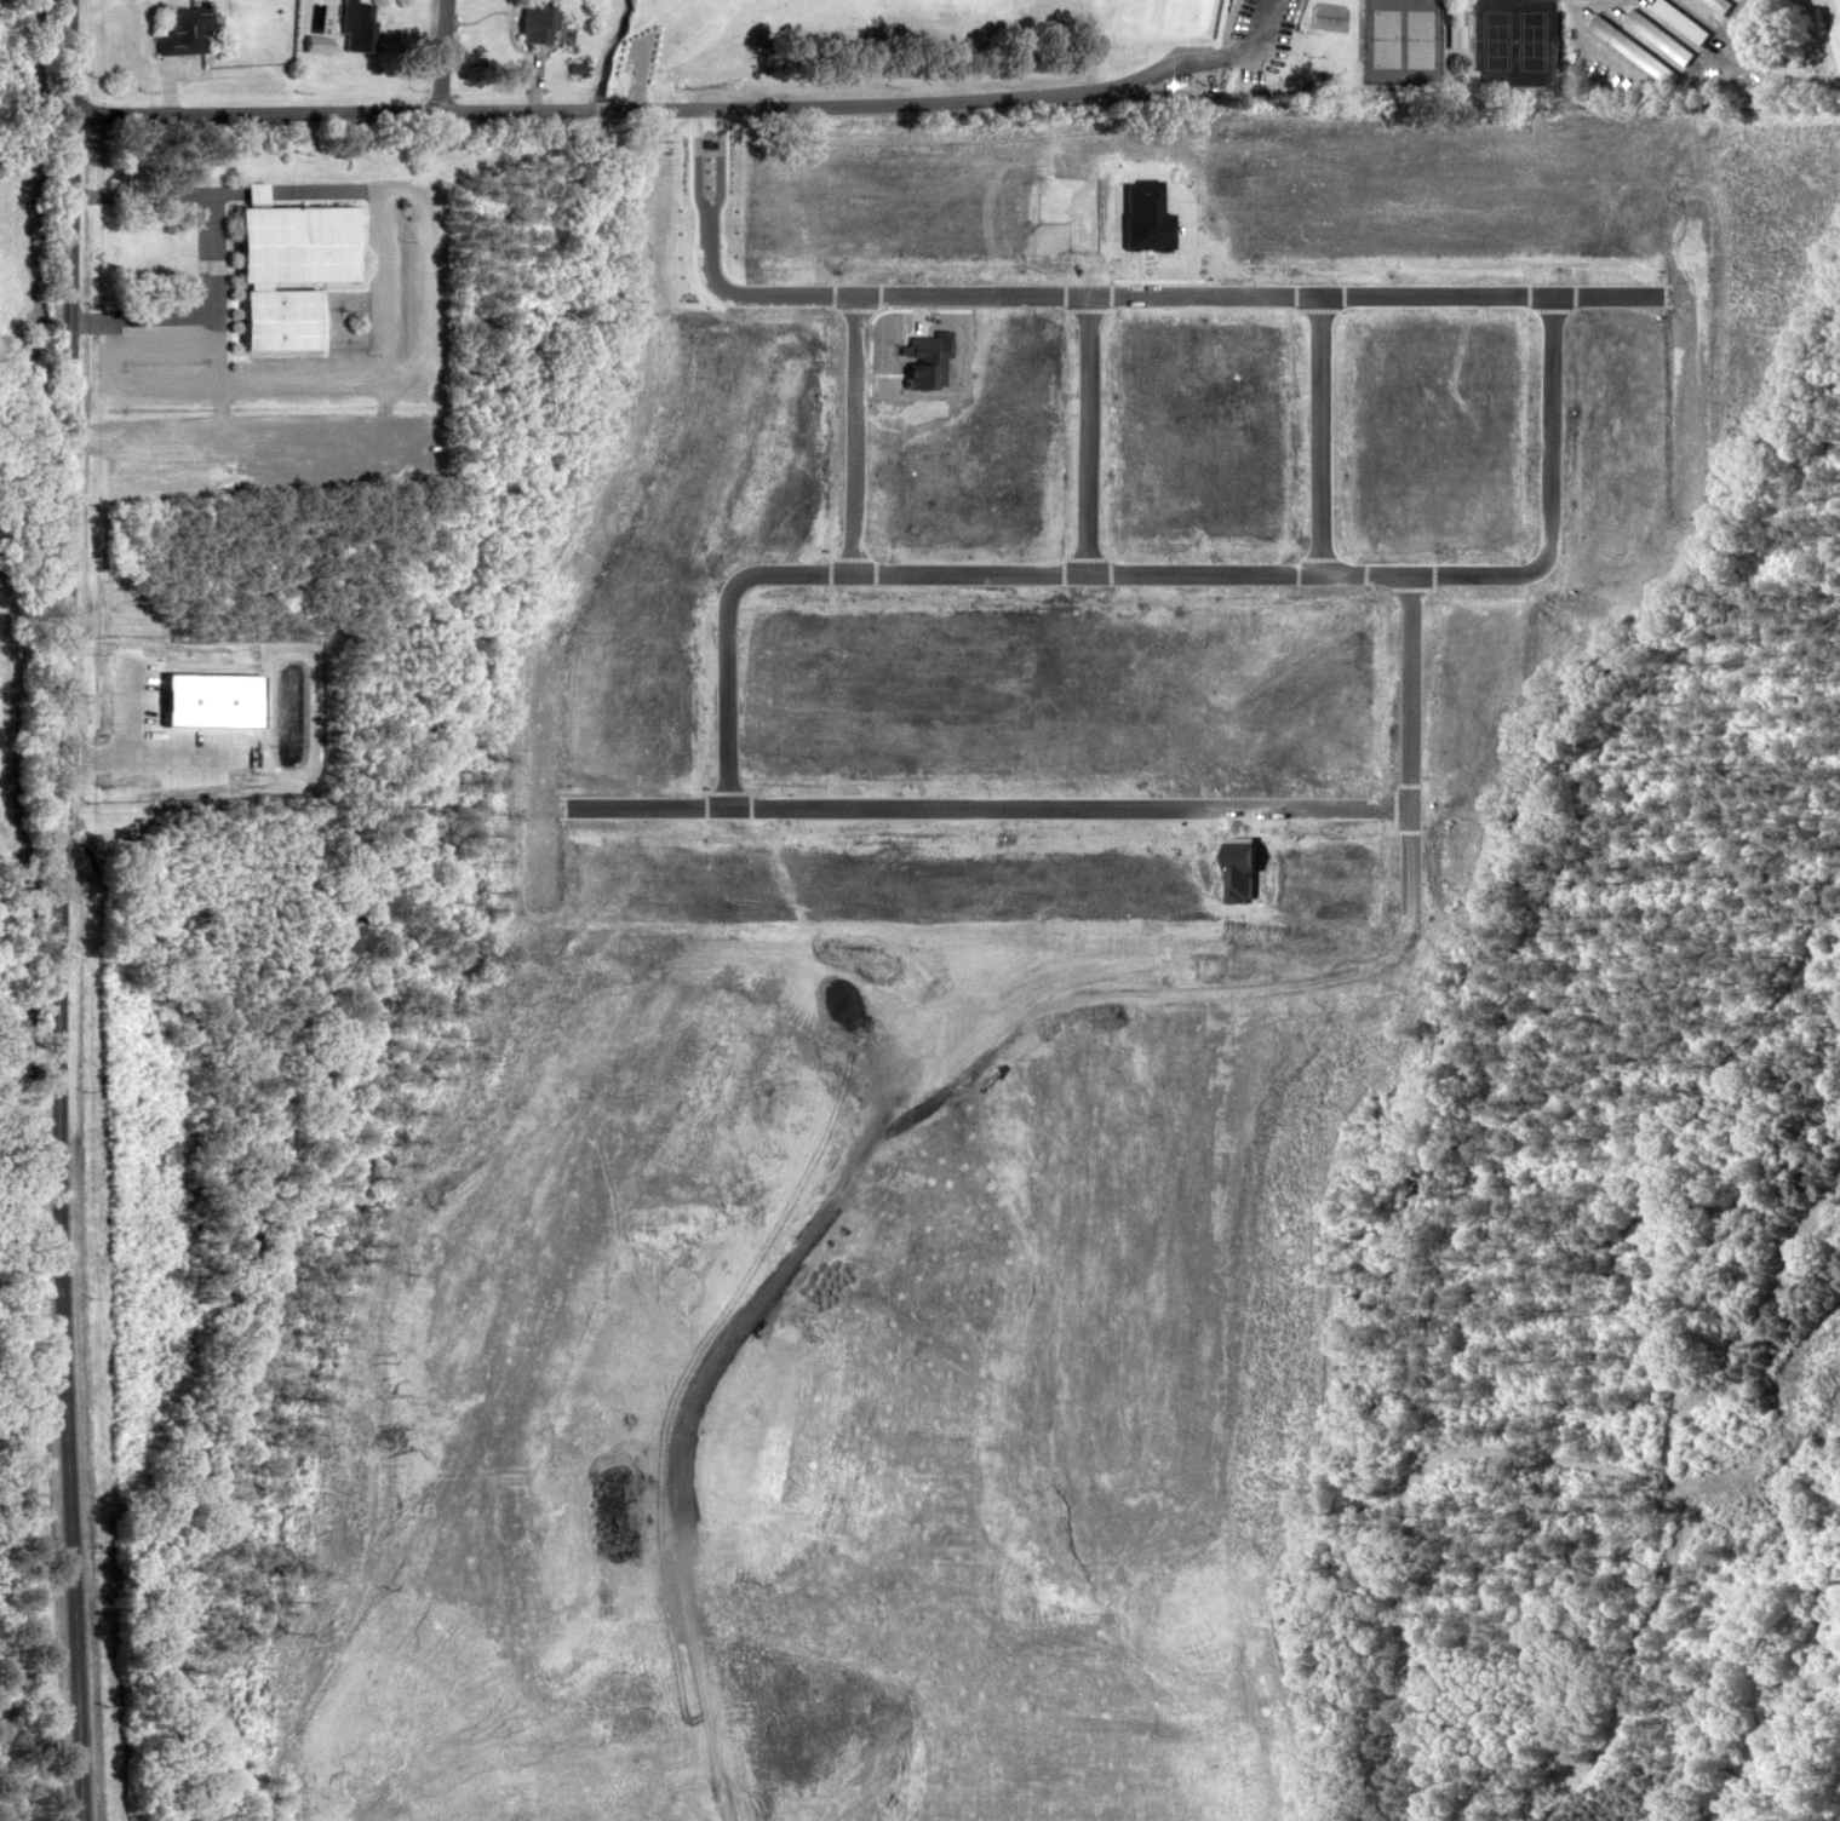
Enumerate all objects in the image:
building: (1718, 5)
building: (1680, 19)
building: (528, 21)
building: (351, 24)
building: (178, 29)
building: (1657, 35)
park: (1380, 39)
park: (1417, 40)
park: (1490, 41)
park: (1527, 41)
building: (1632, 48)
road: (436, 54)
park: (1204, 57)
road: (664, 114)
building: (281, 265)
road: (59, 910)
road: (35, 1706)

